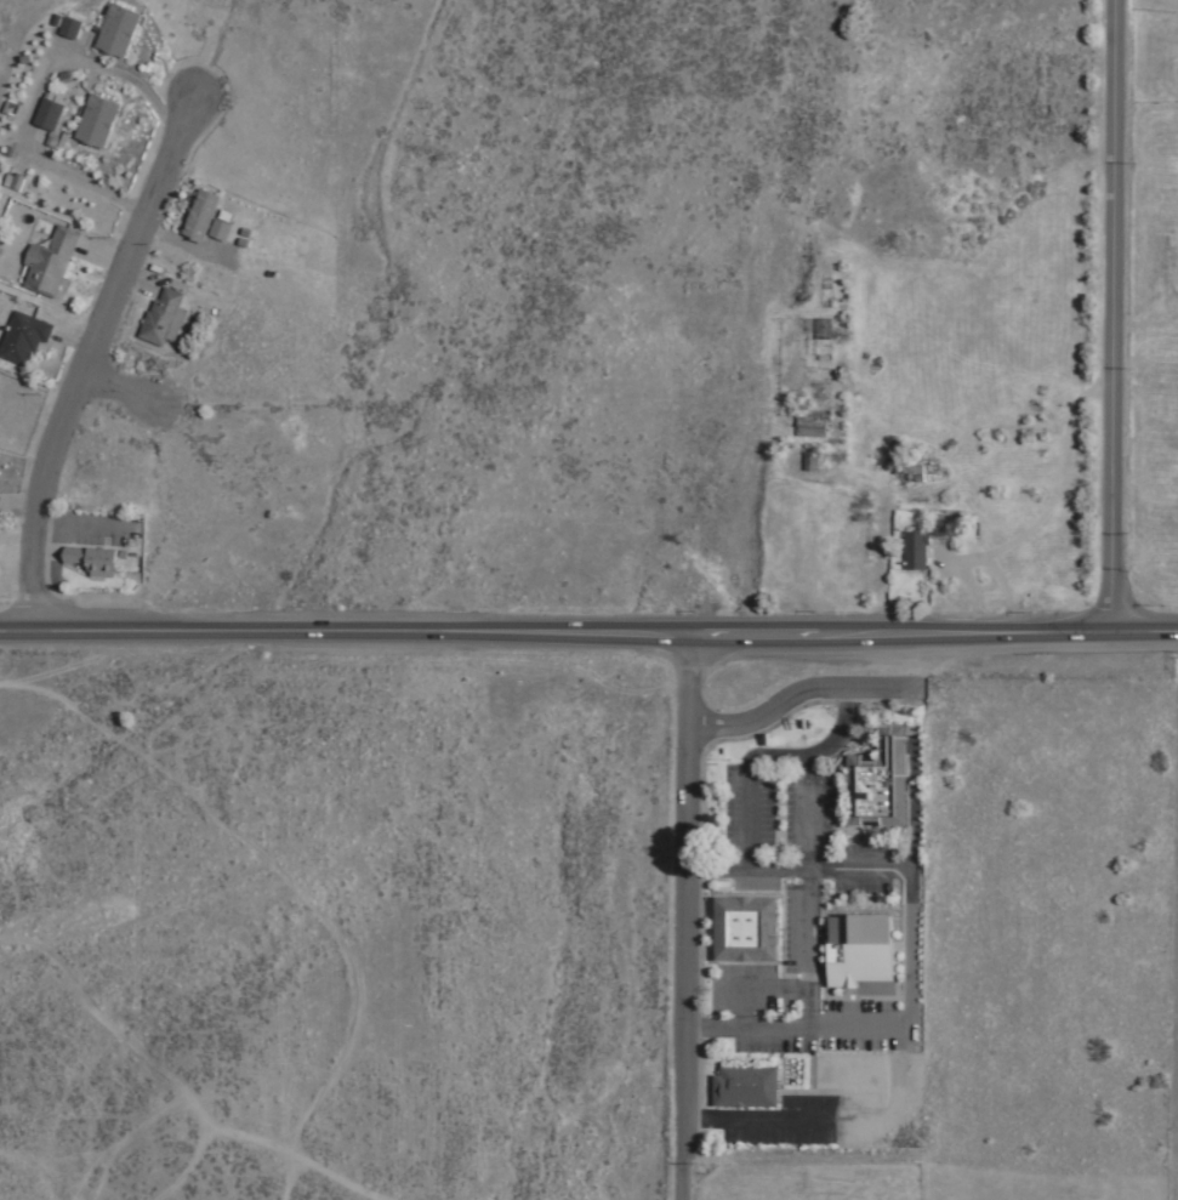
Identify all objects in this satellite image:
building: (68, 28)
building: (115, 32)
building: (46, 115)
building: (95, 121)
building: (204, 220)
building: (47, 265)
crop: (755, 307)
road: (1116, 315)
building: (161, 318)
building: (21, 341)
road: (90, 357)
road: (121, 386)
road: (78, 528)
building: (937, 528)
building: (914, 547)
building: (91, 562)
road: (588, 632)
road: (797, 692)
road: (770, 753)
building: (878, 783)
road: (914, 803)
road: (808, 891)
road: (681, 916)
building: (745, 931)
road: (910, 944)
road: (757, 988)
building: (744, 1085)
road: (755, 1117)
crop: (819, 1175)

